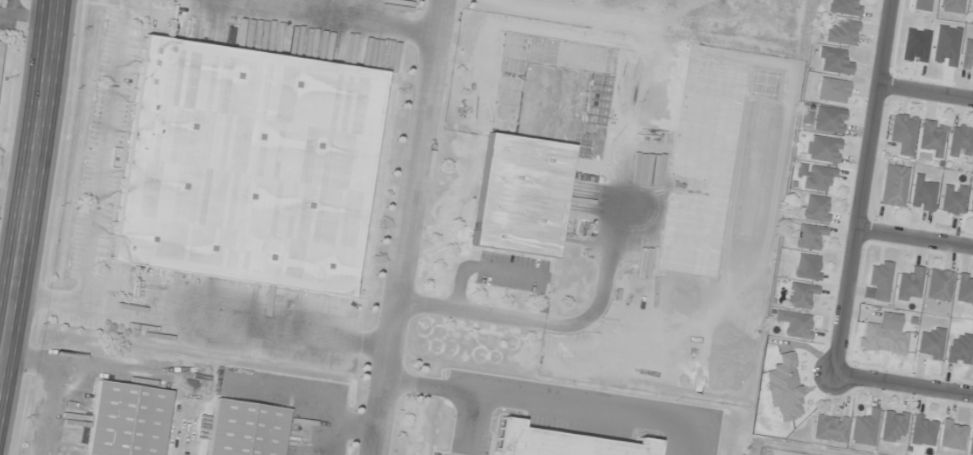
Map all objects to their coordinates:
building: (972, 3)
building: (952, 6)
building: (844, 7)
road: (350, 13)
building: (841, 32)
building: (0, 46)
building: (967, 54)
building: (833, 61)
building: (832, 91)
road: (925, 91)
building: (828, 120)
building: (903, 134)
building: (932, 137)
building: (959, 141)
building: (824, 149)
road: (101, 153)
building: (246, 167)
road: (28, 177)
building: (815, 177)
building: (893, 186)
road: (863, 187)
building: (922, 194)
building: (519, 196)
building: (952, 199)
building: (971, 207)
building: (816, 208)
road: (412, 227)
building: (810, 237)
road: (915, 239)
road: (482, 267)
building: (807, 267)
building: (880, 279)
building: (939, 285)
building: (909, 286)
building: (964, 289)
building: (801, 295)
road: (588, 317)
road: (202, 323)
building: (795, 324)
building: (883, 339)
building: (931, 344)
building: (960, 349)
road: (81, 361)
road: (904, 385)
road: (303, 393)
road: (548, 405)
road: (45, 409)
building: (126, 420)
road: (464, 424)
building: (893, 426)
road: (352, 428)
building: (829, 428)
building: (865, 428)
building: (244, 429)
building: (923, 430)
building: (952, 434)
building: (971, 439)
building: (558, 443)

